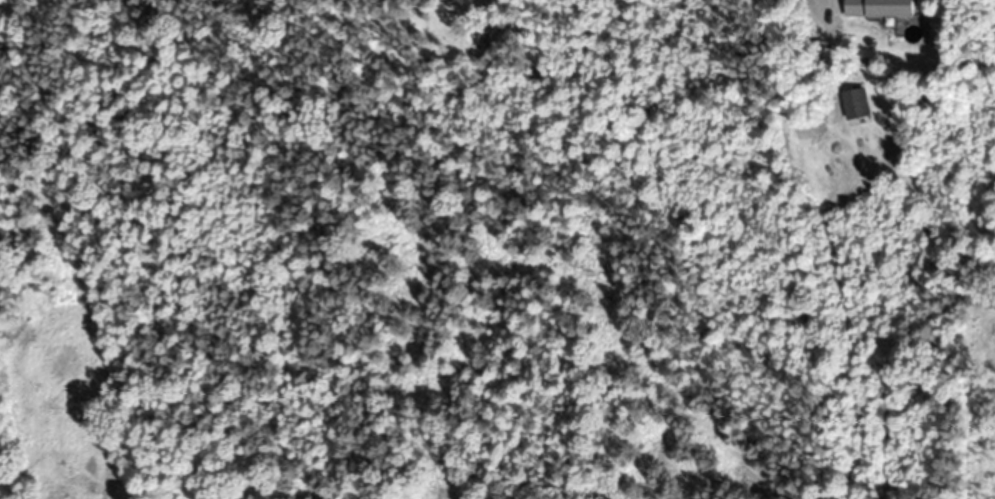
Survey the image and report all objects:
building: (881, 8)
building: (856, 103)

